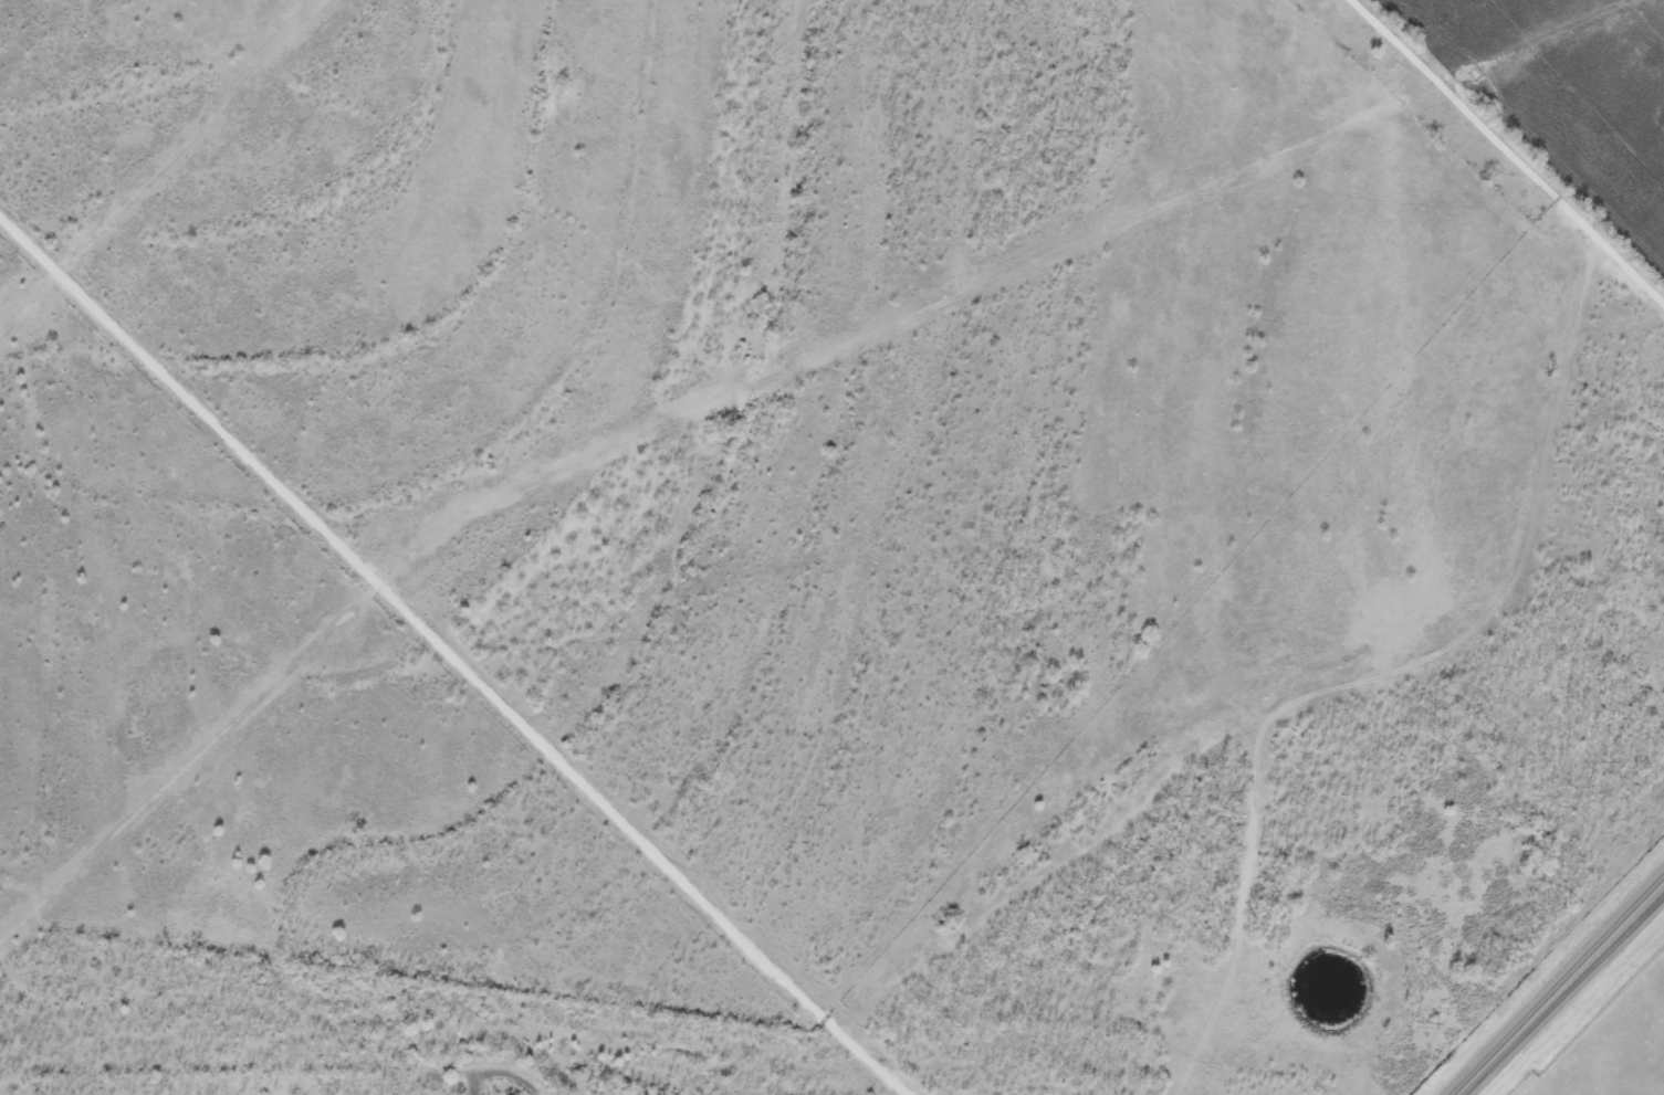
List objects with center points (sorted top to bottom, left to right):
road: (1479, 135)
road: (1635, 284)
road: (1374, 702)
road: (1563, 992)

